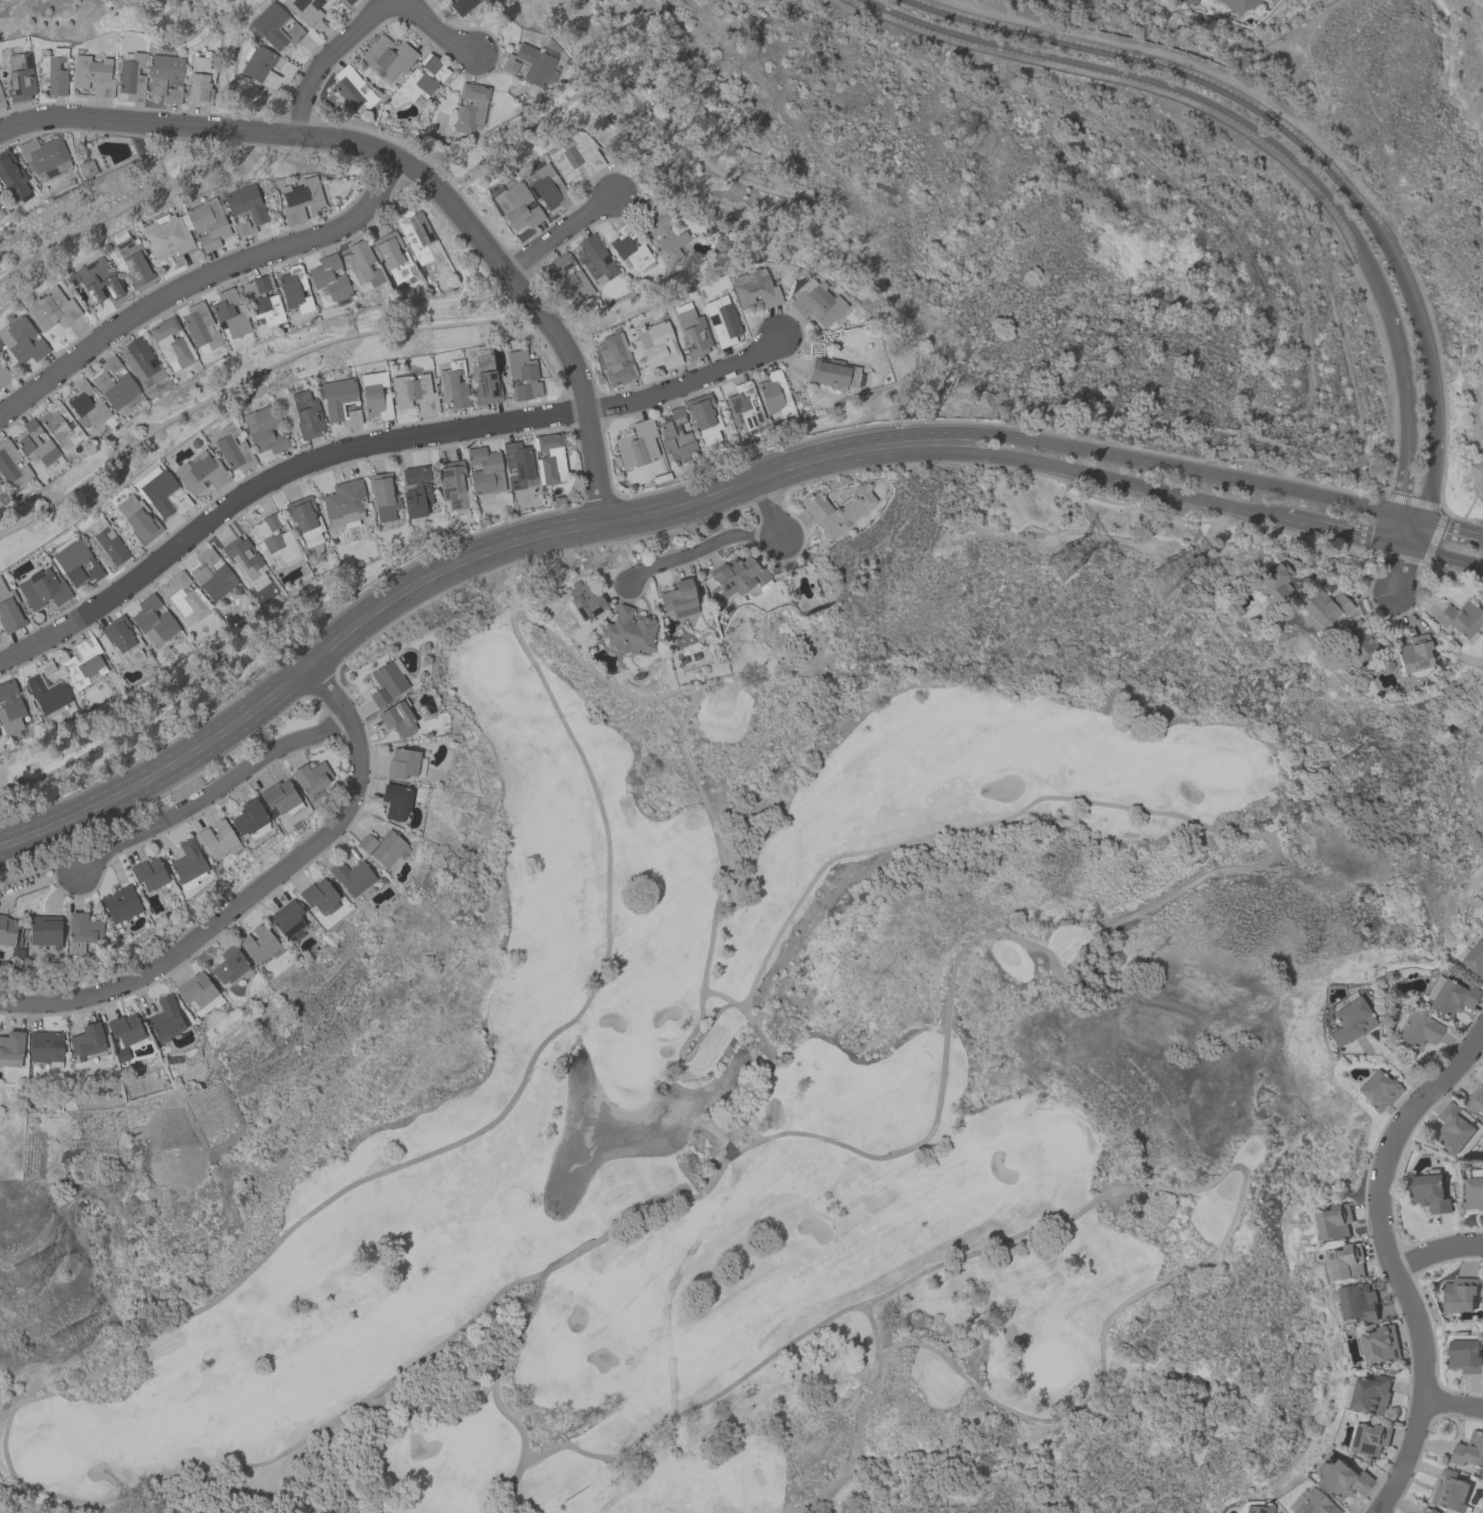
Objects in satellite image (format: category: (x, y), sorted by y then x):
building: (439, 0)
building: (1271, 0)
building: (348, 1)
building: (461, 5)
building: (1239, 5)
building: (304, 10)
building: (274, 26)
road: (433, 27)
road: (326, 56)
building: (389, 57)
building: (528, 65)
building: (265, 66)
building: (54, 71)
building: (93, 75)
building: (132, 75)
building: (19, 76)
building: (165, 76)
building: (423, 78)
building: (198, 82)
building: (351, 89)
building: (1, 101)
building: (471, 106)
road: (1265, 137)
park: (1362, 139)
road: (1297, 142)
building: (44, 156)
building: (574, 159)
road: (410, 166)
building: (87, 167)
building: (13, 176)
building: (544, 186)
building: (300, 198)
building: (1, 203)
building: (514, 204)
building: (244, 207)
building: (207, 223)
park: (1024, 227)
building: (167, 234)
road: (558, 234)
building: (418, 237)
building: (664, 237)
building: (630, 247)
building: (393, 255)
building: (132, 259)
building: (595, 259)
building: (360, 263)
road: (196, 277)
building: (568, 278)
building: (96, 280)
building: (328, 280)
building: (754, 288)
building: (294, 289)
building: (262, 300)
building: (817, 304)
building: (50, 308)
building: (228, 312)
building: (721, 319)
building: (200, 327)
building: (693, 332)
building: (21, 340)
building: (171, 343)
building: (658, 345)
building: (615, 358)
building: (141, 362)
building: (832, 372)
building: (3, 375)
building: (521, 375)
building: (483, 380)
road: (686, 382)
building: (114, 384)
building: (452, 385)
building: (413, 393)
building: (374, 395)
building: (775, 395)
building: (340, 401)
building: (86, 404)
building: (746, 404)
building: (306, 415)
building: (703, 417)
building: (59, 426)
building: (263, 429)
building: (675, 434)
building: (637, 444)
building: (36, 445)
building: (233, 448)
building: (549, 458)
building: (517, 463)
building: (11, 465)
road: (1189, 469)
building: (485, 470)
building: (199, 472)
road: (1126, 482)
road: (270, 483)
building: (452, 487)
building: (415, 490)
building: (161, 491)
building: (383, 495)
building: (3, 497)
building: (344, 501)
building: (836, 509)
road: (769, 510)
building: (138, 518)
building: (305, 519)
road: (1443, 524)
road: (1406, 530)
road: (1344, 531)
road: (1480, 533)
building: (275, 537)
building: (106, 544)
road: (698, 549)
road: (1443, 555)
building: (244, 558)
power tower: (1077, 561)
building: (77, 563)
road: (452, 565)
road: (1397, 571)
building: (212, 575)
building: (734, 578)
power tower: (1188, 580)
building: (1271, 583)
building: (42, 588)
building: (184, 595)
building: (678, 598)
building: (585, 602)
building: (1323, 608)
building: (9, 611)
building: (1460, 619)
building: (153, 620)
building: (629, 631)
building: (123, 638)
building: (1413, 652)
building: (82, 663)
building: (386, 683)
building: (47, 689)
building: (10, 707)
building: (397, 717)
building: (0, 741)
building: (402, 762)
building: (310, 776)
road: (211, 790)
building: (279, 798)
building: (395, 801)
building: (250, 819)
building: (217, 838)
building: (381, 847)
building: (187, 864)
road: (1209, 871)
building: (148, 873)
building: (351, 876)
road: (254, 890)
building: (319, 895)
building: (121, 903)
building: (287, 920)
building: (9, 932)
building: (81, 932)
building: (43, 933)
building: (257, 943)
building: (1473, 960)
building: (229, 964)
building: (198, 993)
building: (1451, 997)
building: (164, 1019)
building: (1348, 1021)
building: (1416, 1027)
building: (125, 1030)
building: (87, 1040)
building: (44, 1046)
building: (11, 1048)
road: (1397, 1063)
building: (1378, 1090)
building: (1476, 1099)
park: (727, 1117)
road: (495, 1118)
building: (1455, 1128)
fountain: (594, 1134)
road: (1129, 1183)
building: (1429, 1193)
building: (1474, 1193)
building: (1336, 1222)
road: (613, 1227)
road: (1437, 1250)
road: (1392, 1260)
building: (1347, 1263)
power tower: (38, 1266)
building: (1461, 1295)
building: (1360, 1302)
power tower: (80, 1335)
building: (1380, 1345)
building: (1465, 1356)
building: (1373, 1395)
road: (1454, 1405)
road: (858, 1416)
building: (1372, 1439)
building: (1469, 1451)
building: (1344, 1480)
building: (1449, 1491)
building: (1314, 1503)
building: (1258, 1508)
building: (1425, 1510)

